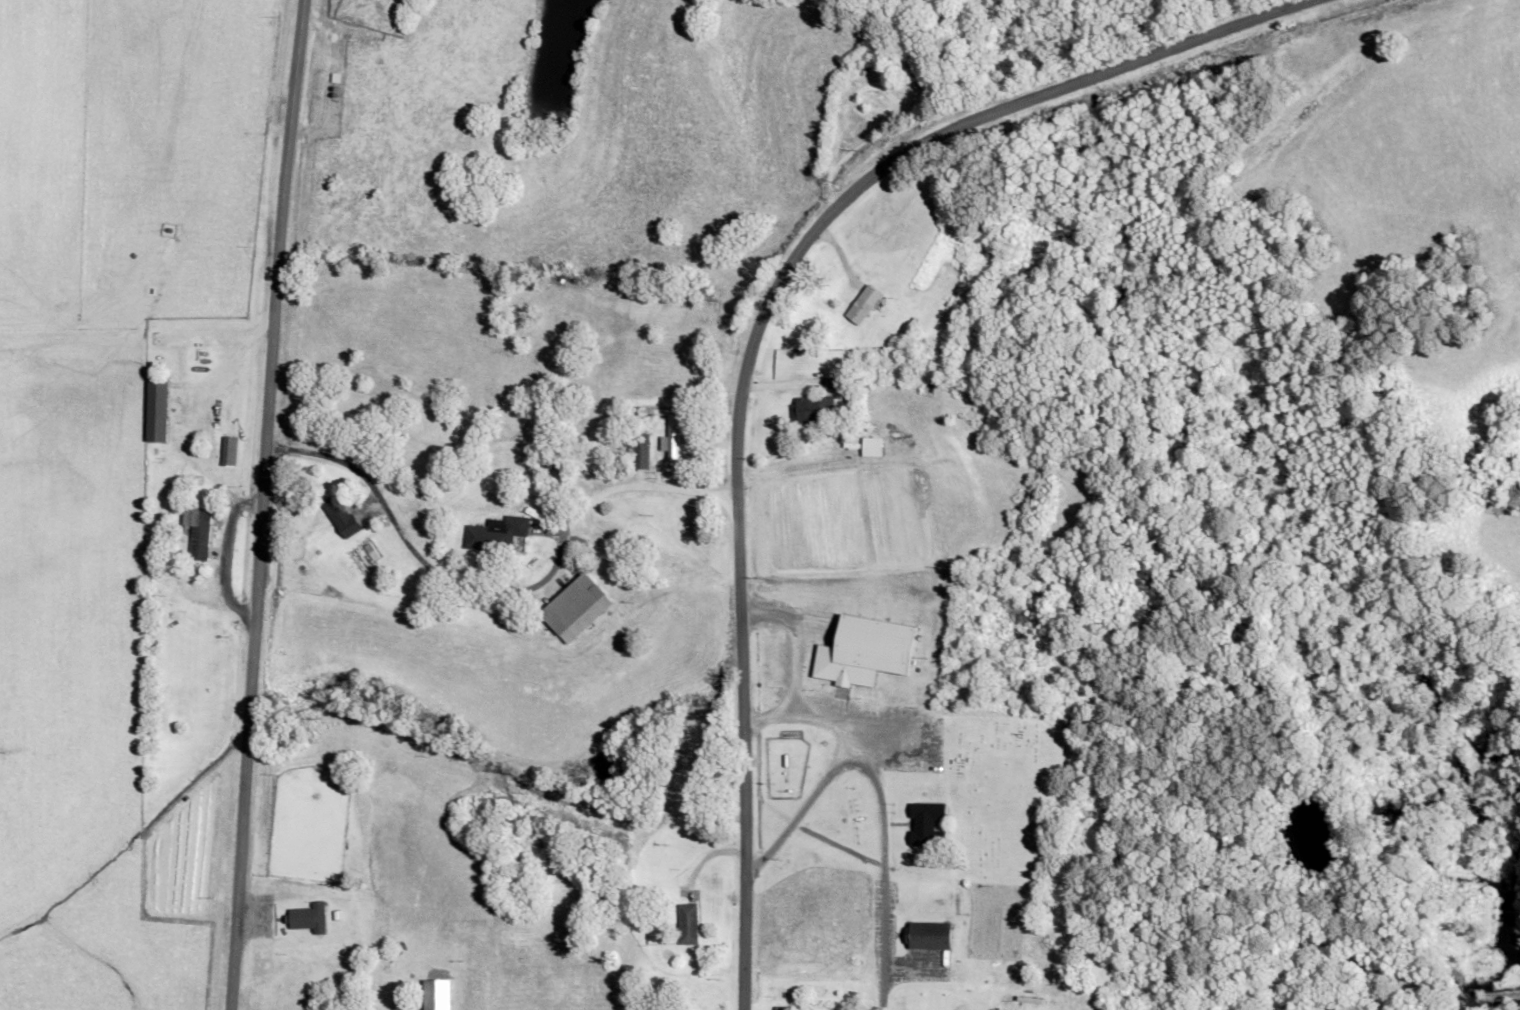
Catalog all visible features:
building: (857, 312)
road: (756, 332)
building: (810, 410)
building: (159, 412)
building: (642, 451)
road: (260, 504)
building: (343, 517)
building: (201, 533)
building: (496, 536)
road: (495, 596)
building: (865, 650)
road: (874, 798)
building: (928, 825)
building: (312, 919)
building: (689, 926)
building: (930, 934)

